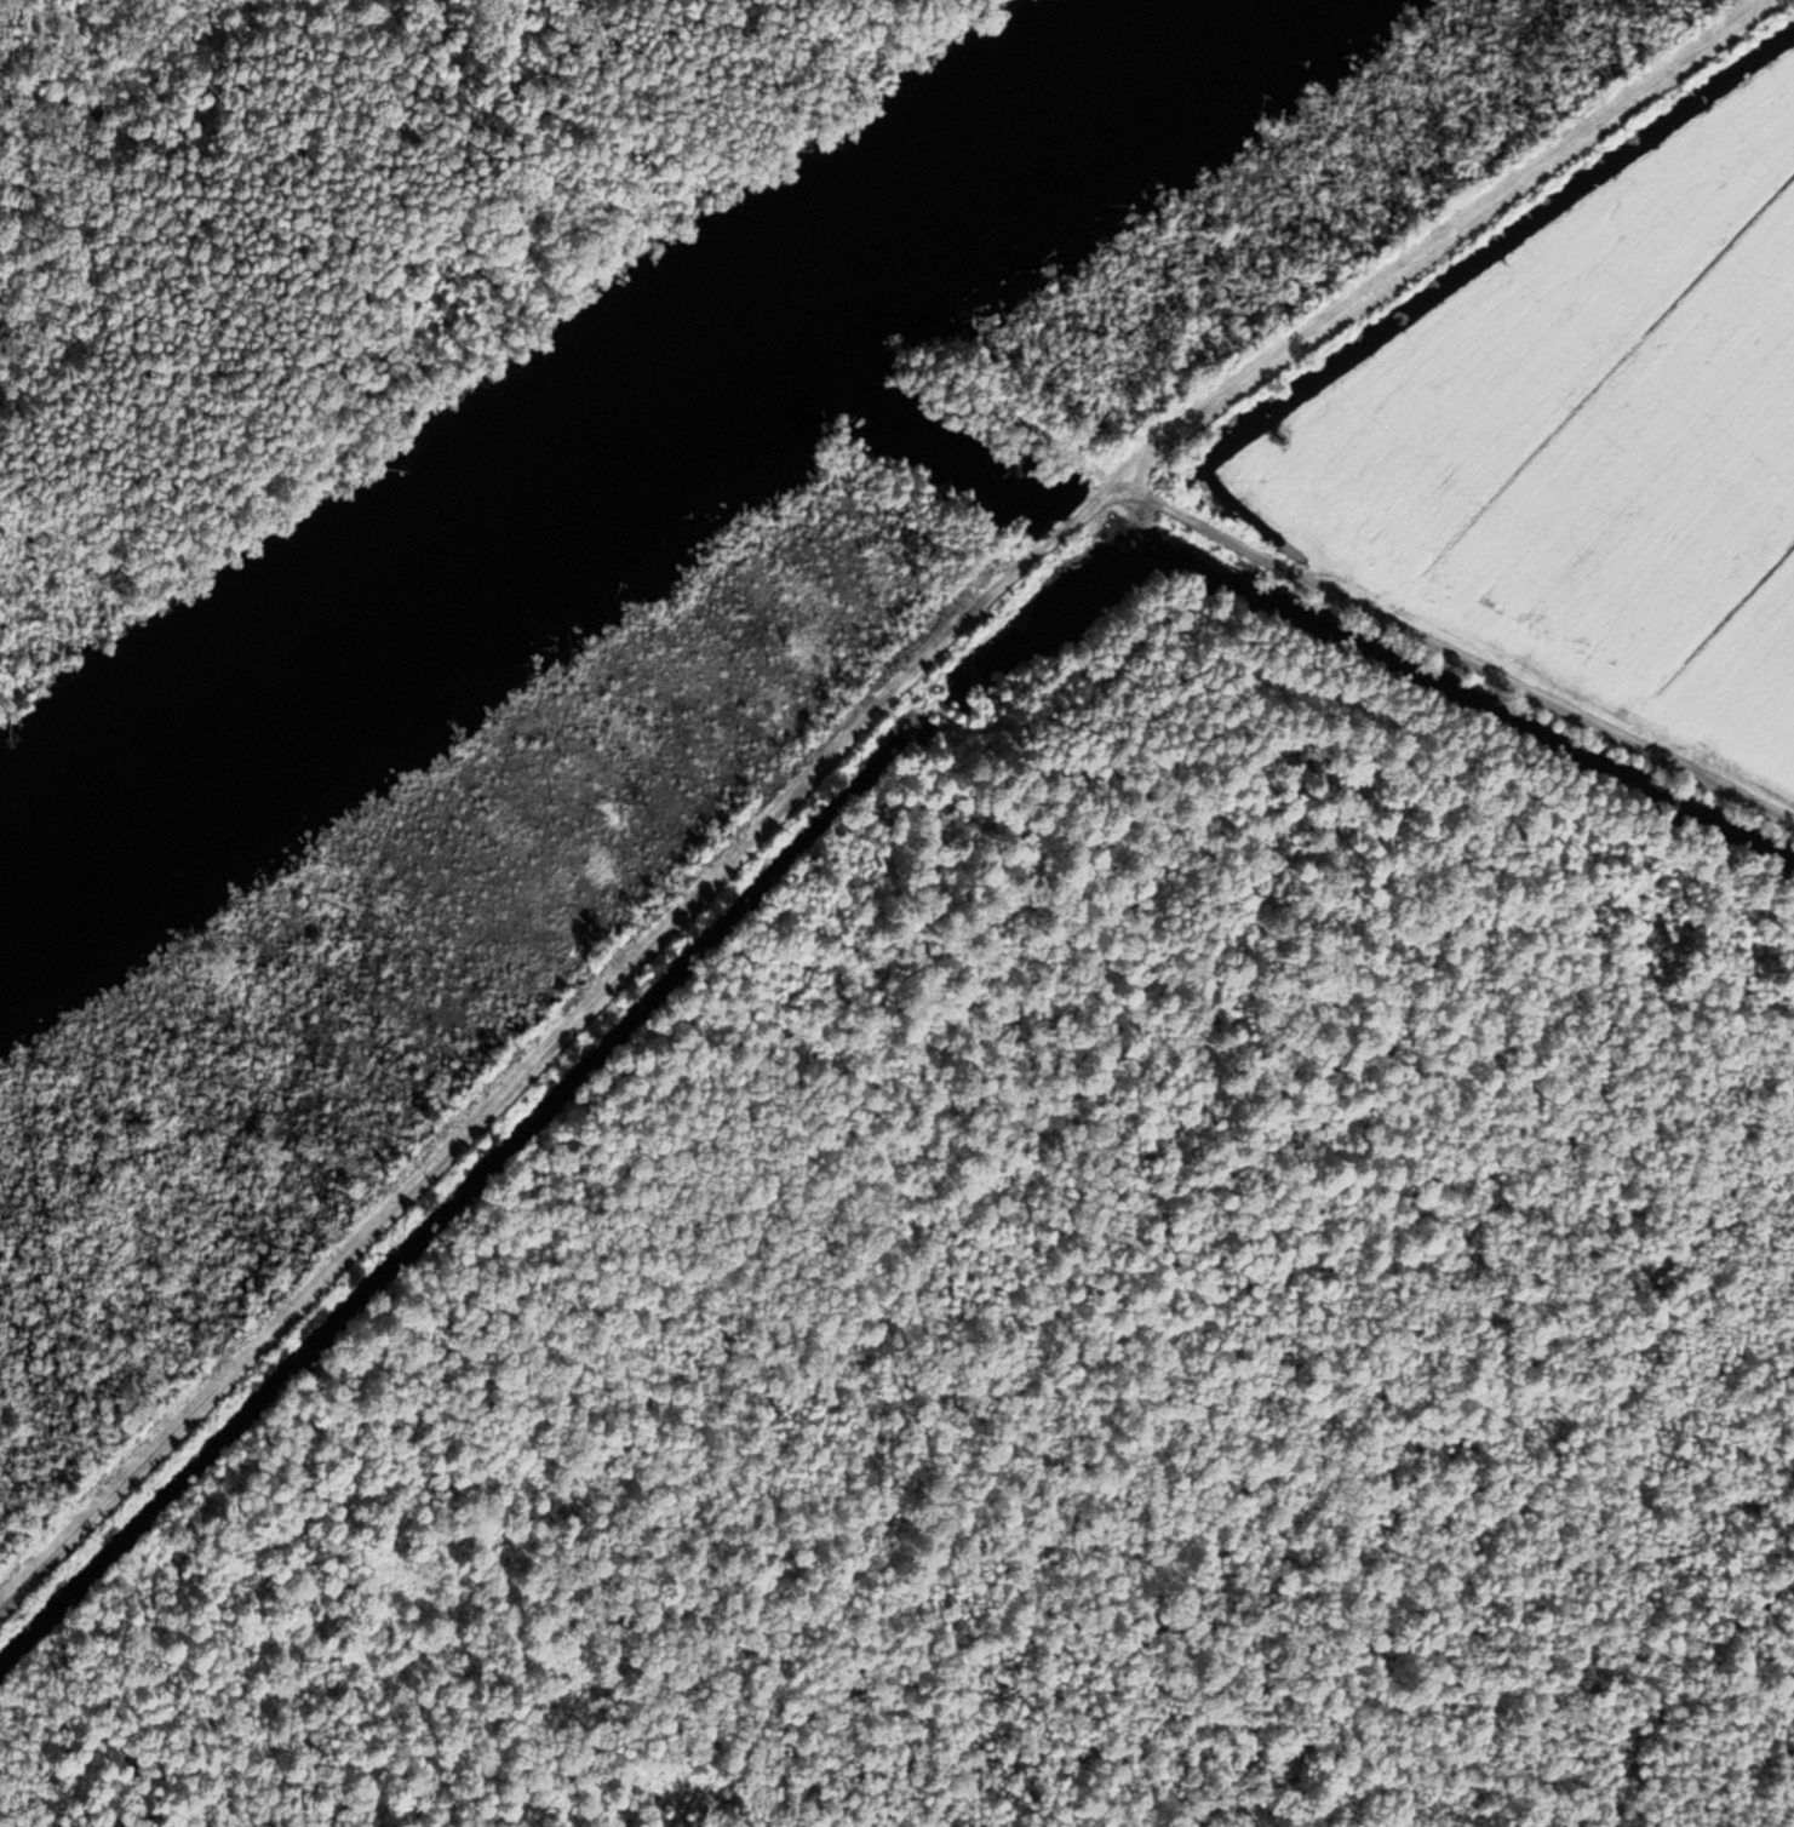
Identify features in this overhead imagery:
road: (1429, 235)
crop: (1597, 431)
road: (1452, 651)
road: (556, 1046)

